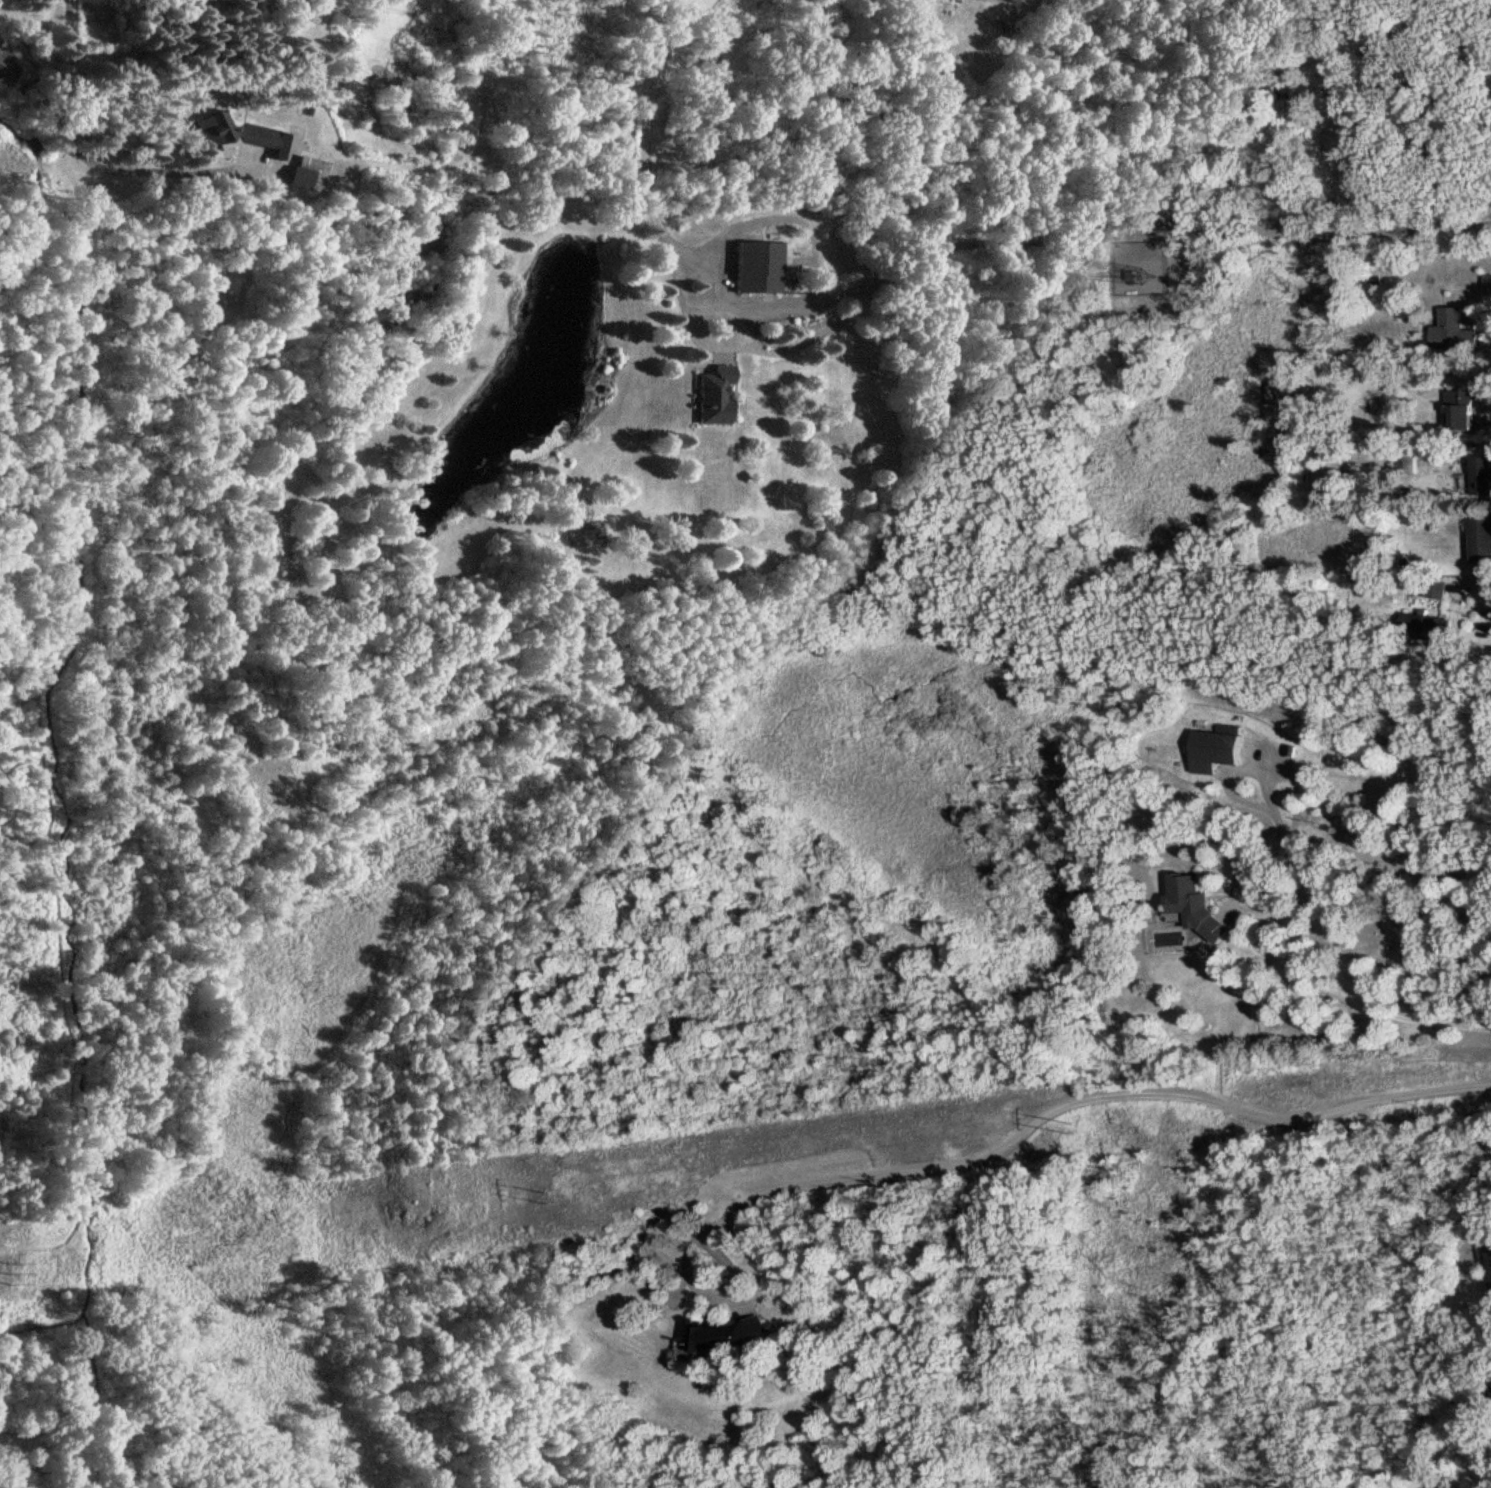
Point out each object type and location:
building: (235, 133)
road: (642, 135)
road: (82, 157)
building: (304, 172)
building: (757, 265)
building: (1451, 331)
building: (711, 394)
building: (1461, 405)
building: (1407, 459)
building: (1481, 473)
building: (1481, 538)
building: (1432, 587)
building: (1425, 624)
building: (1214, 747)
road: (1237, 897)
building: (1191, 905)
road: (1338, 945)
road: (1068, 1101)
power tower: (1069, 1128)
power tower: (548, 1196)
power tower: (15, 1272)
building: (724, 1332)

